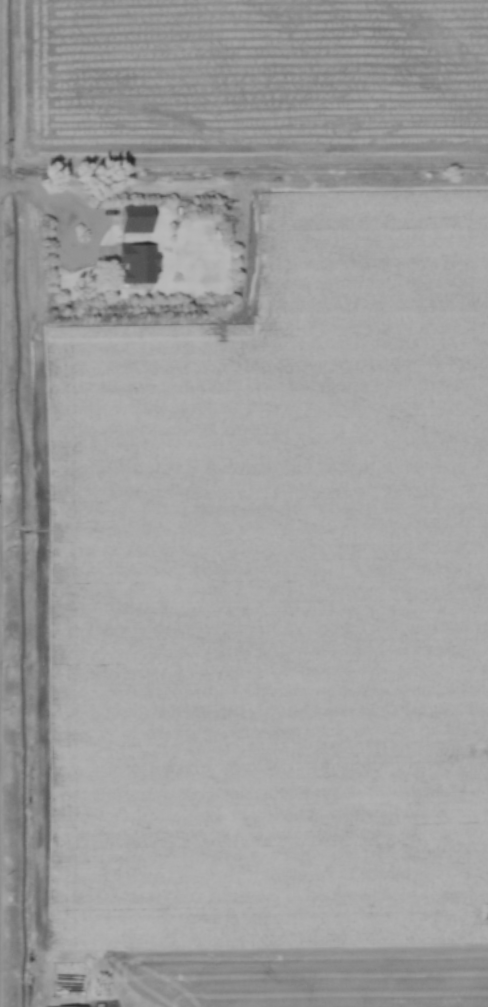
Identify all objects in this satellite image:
road: (60, 197)
building: (134, 219)
building: (134, 264)

